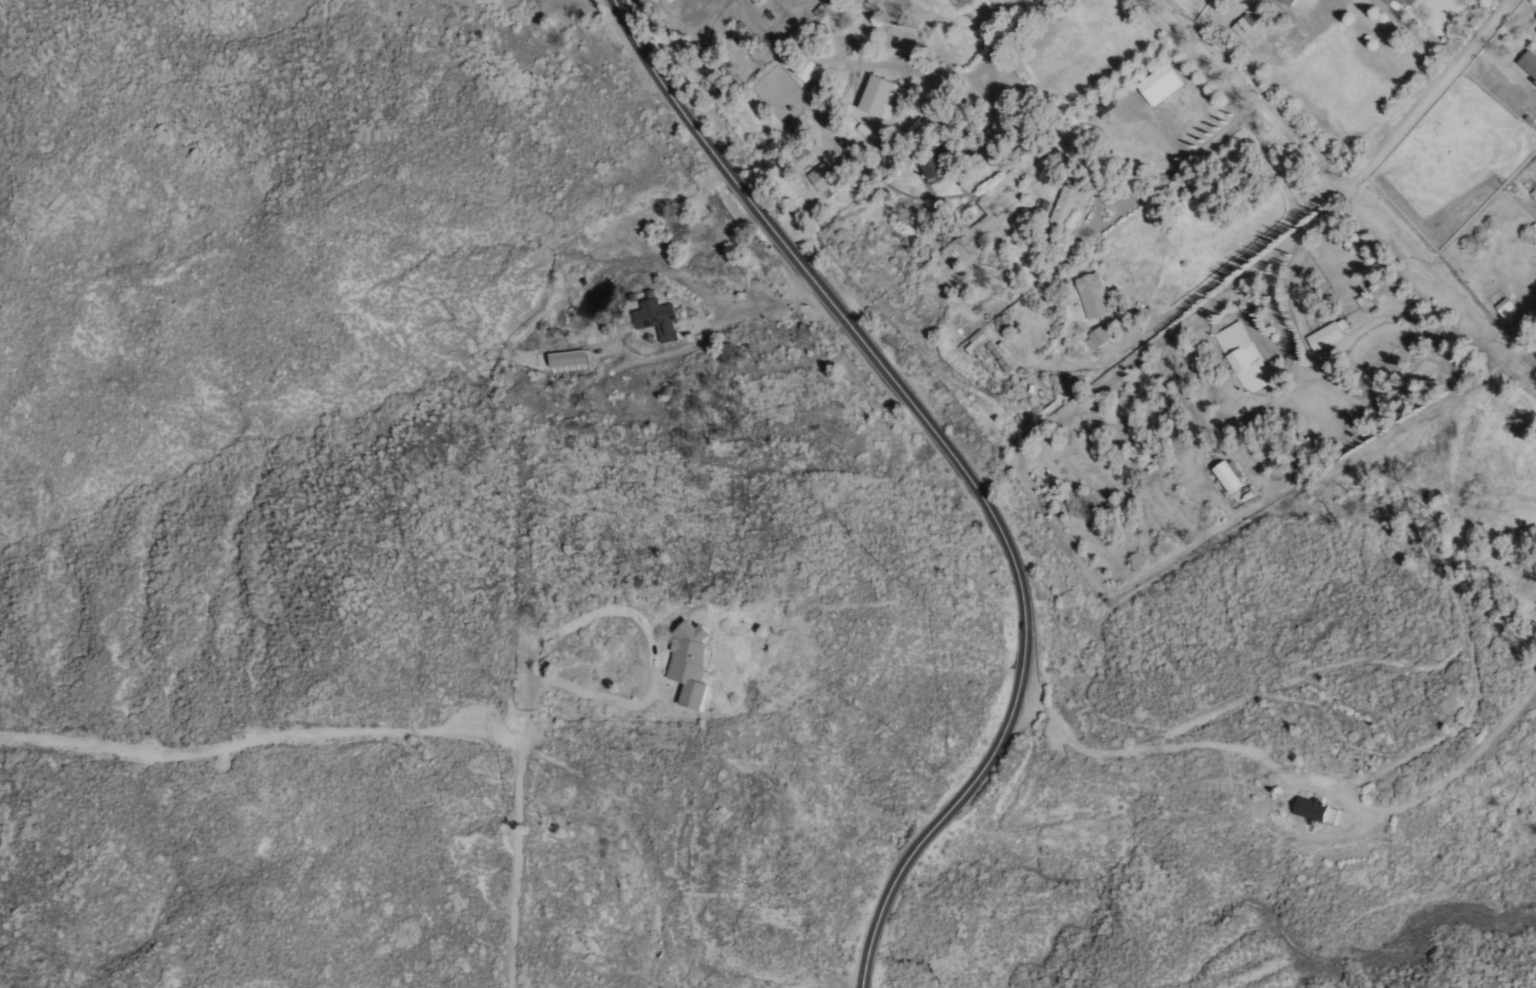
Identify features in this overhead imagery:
building: (1295, 2)
building: (1401, 3)
road: (1299, 24)
building: (1249, 28)
road: (1007, 34)
building: (1530, 64)
building: (1165, 84)
building: (885, 97)
road: (1411, 116)
building: (939, 165)
road: (1172, 172)
building: (827, 176)
road: (1287, 198)
building: (1068, 203)
building: (1097, 295)
building: (654, 312)
building: (1328, 335)
building: (1100, 337)
building: (978, 341)
building: (1245, 356)
road: (947, 469)
building: (1231, 477)
road: (649, 639)
building: (696, 662)
road: (262, 736)
road: (1153, 738)
building: (1326, 812)
road: (517, 840)

